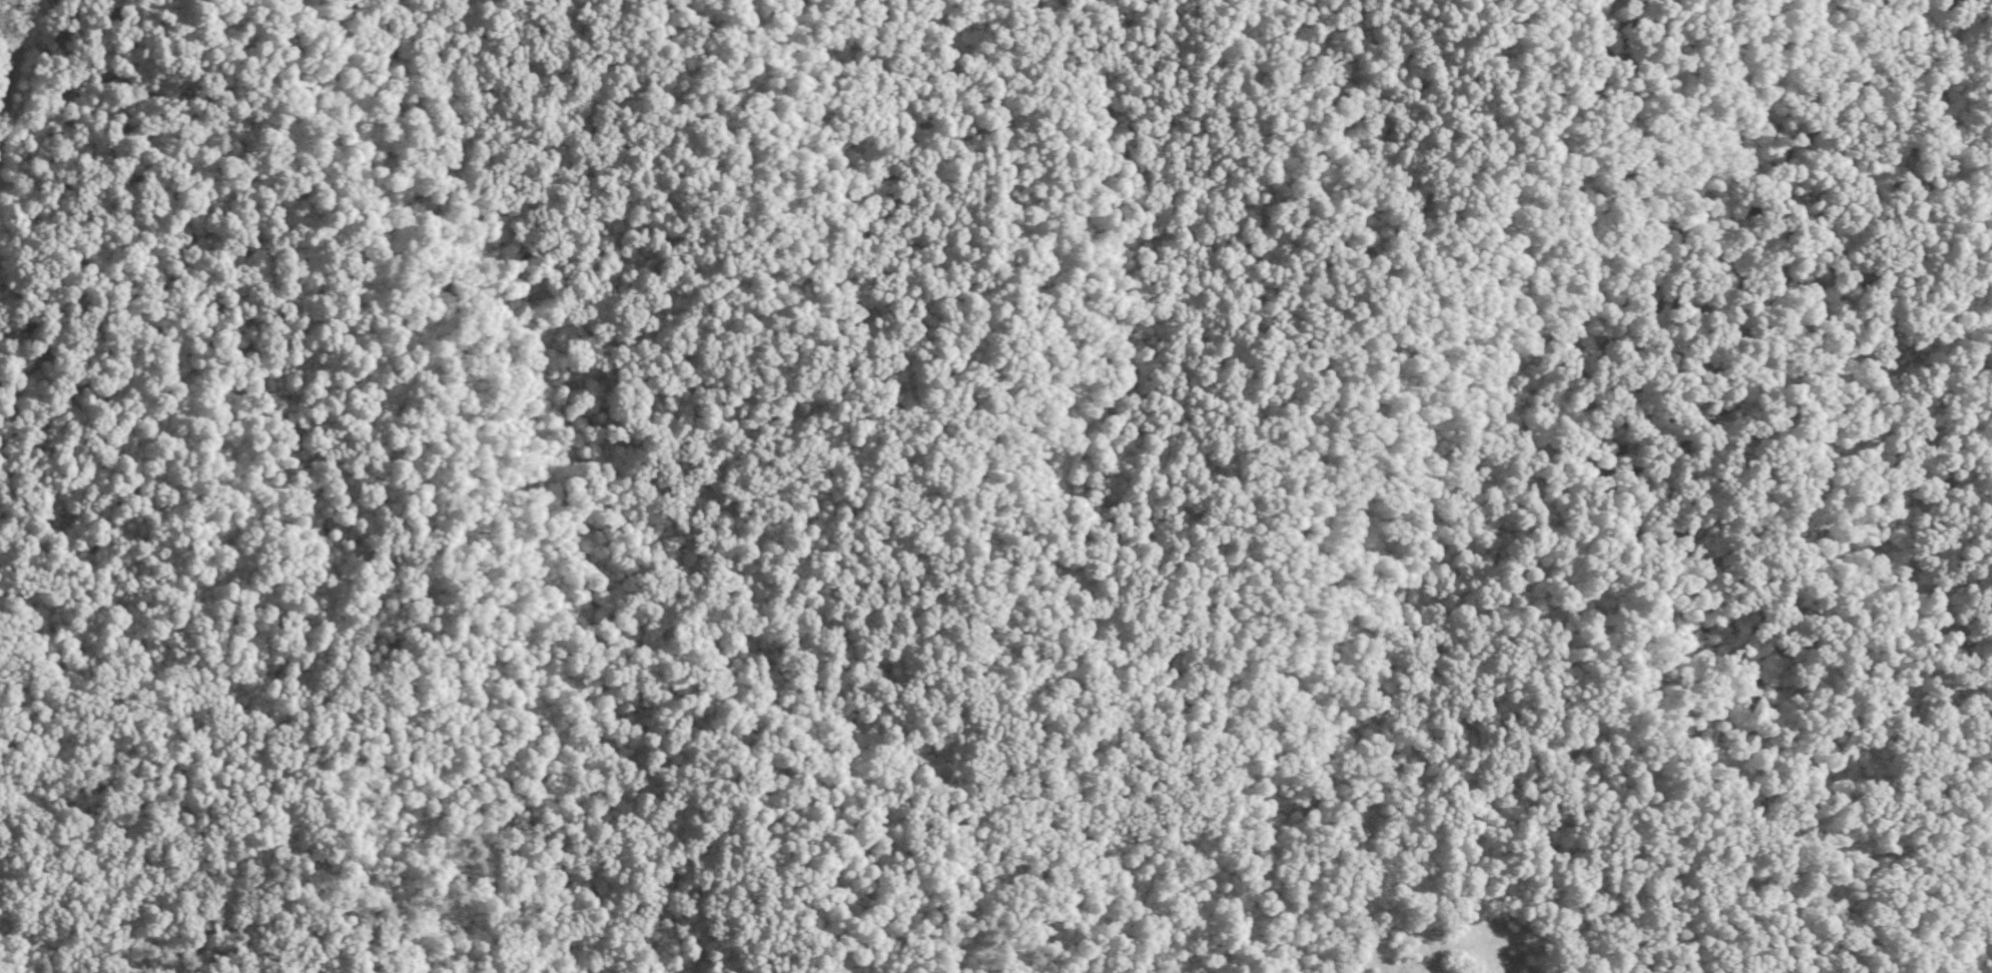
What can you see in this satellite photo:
road: (13, 66)

